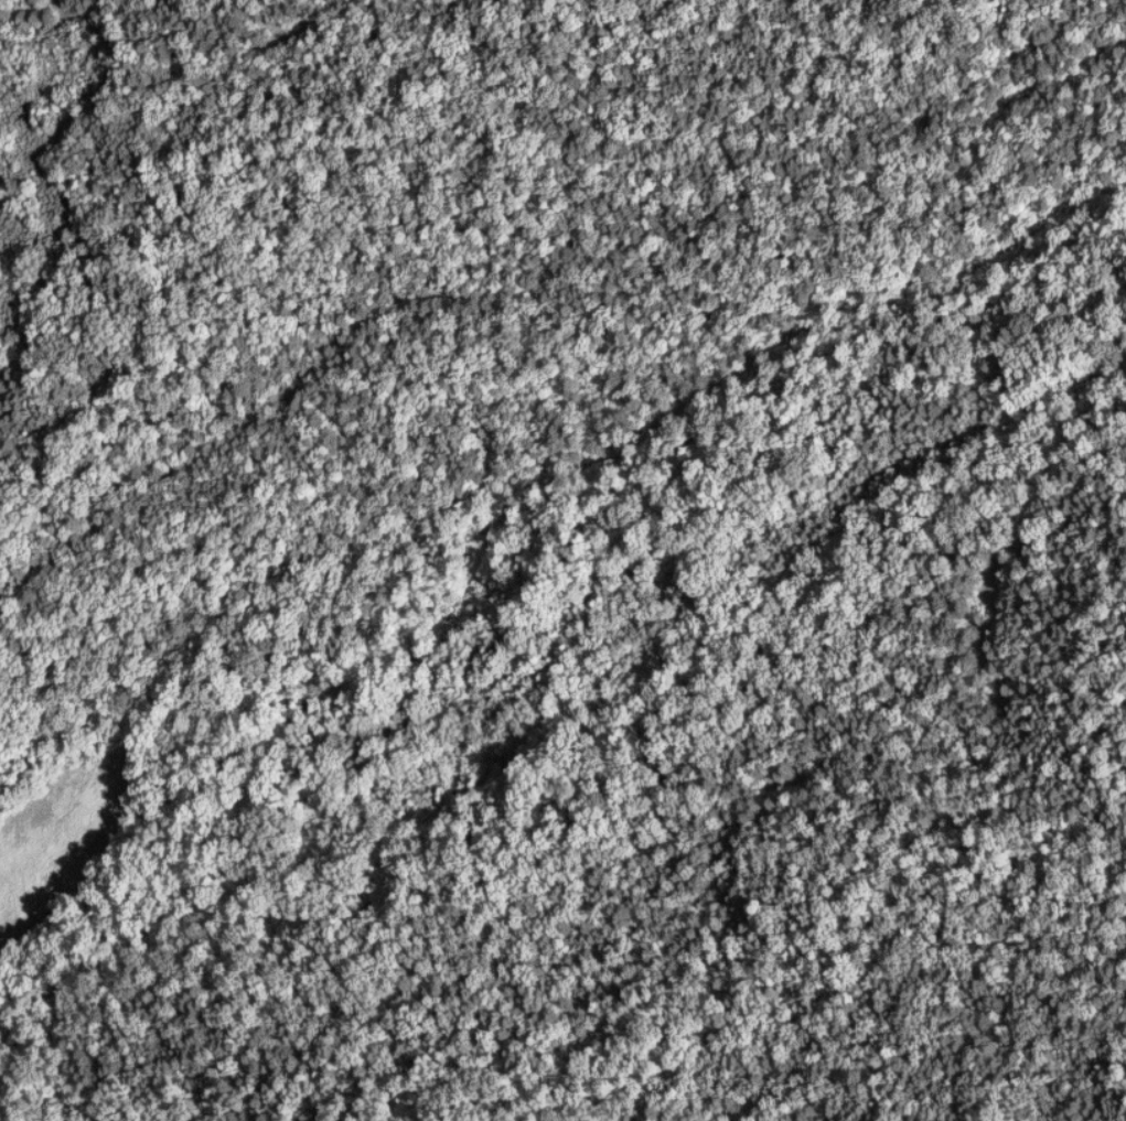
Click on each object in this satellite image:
road: (556, 606)
road: (185, 1035)

